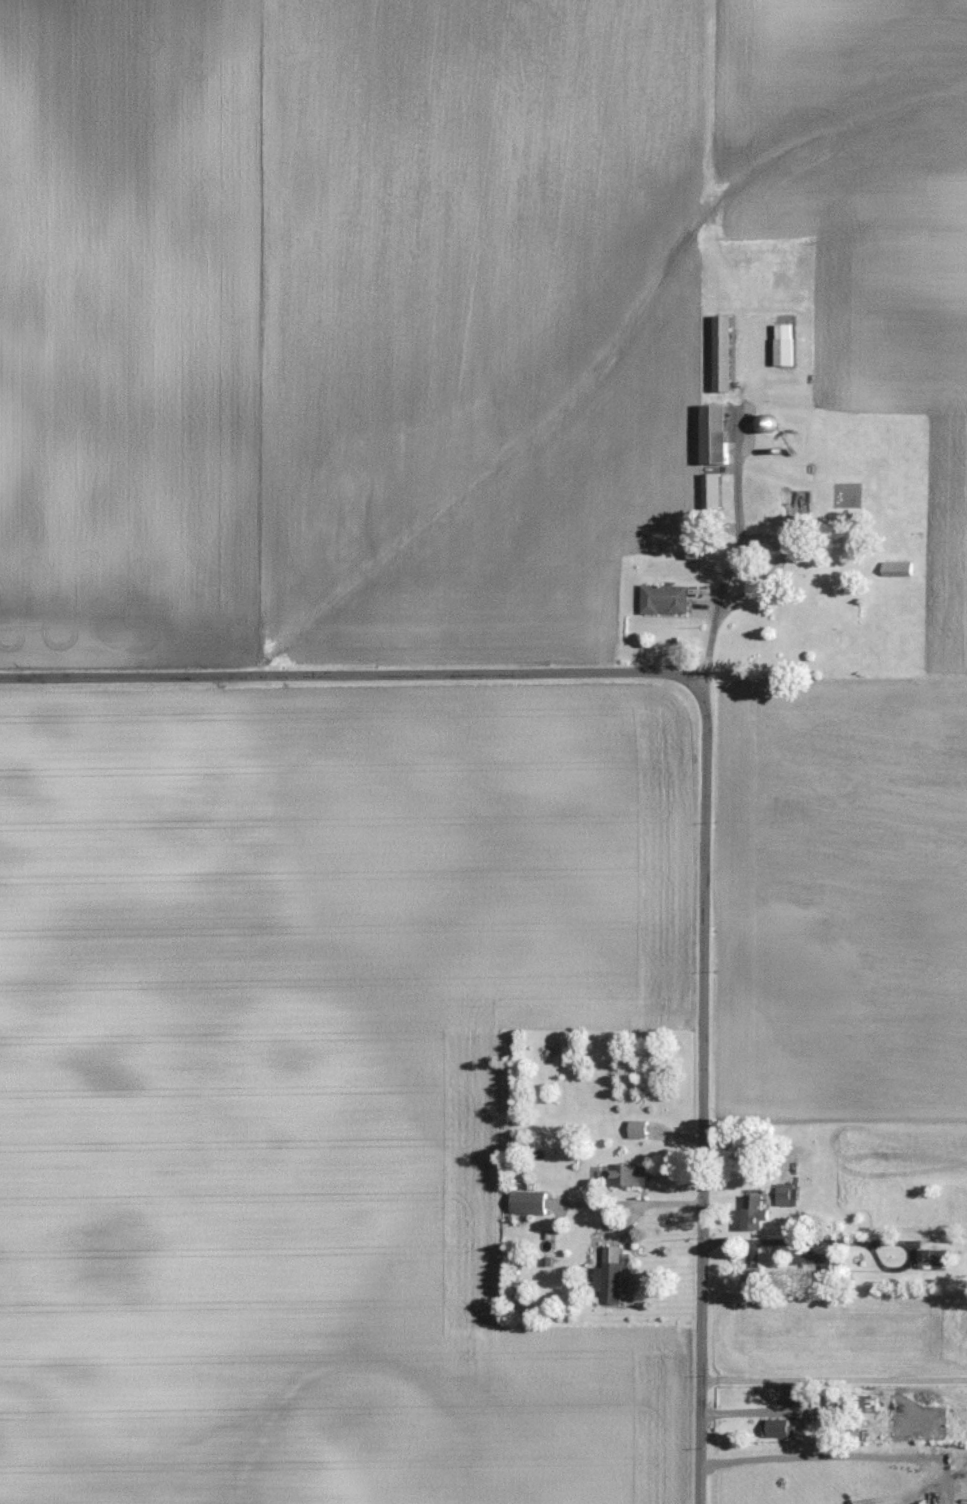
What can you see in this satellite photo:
building: (785, 345)
building: (723, 353)
building: (767, 423)
building: (715, 433)
road: (730, 557)
building: (898, 569)
building: (666, 600)
road: (339, 674)
road: (703, 1081)
building: (639, 1129)
building: (805, 1147)
building: (629, 1175)
building: (788, 1195)
building: (529, 1202)
road: (633, 1212)
building: (755, 1213)
road: (835, 1241)
building: (934, 1259)
building: (816, 1262)
building: (613, 1276)
road: (833, 1381)
building: (807, 1397)
building: (862, 1404)
building: (781, 1428)

